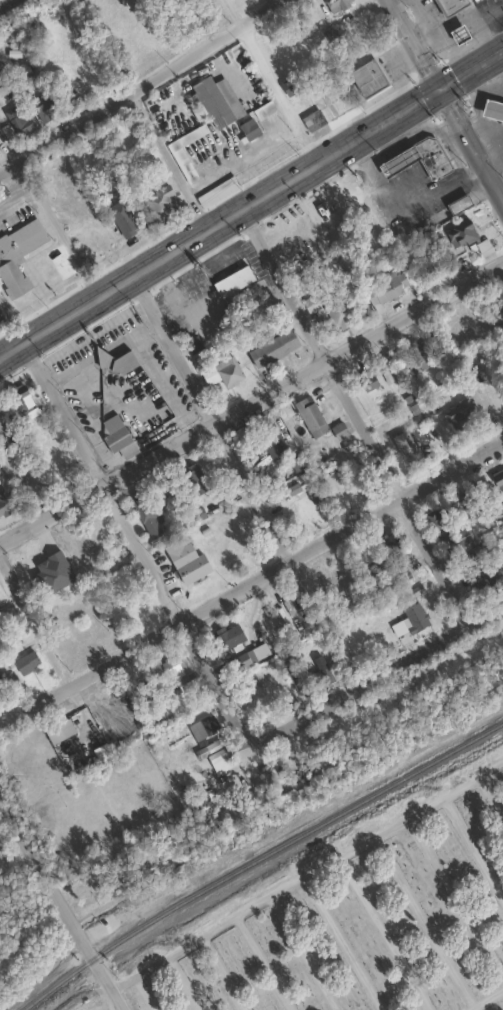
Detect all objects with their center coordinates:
building: (470, 0)
park: (5, 3)
building: (336, 5)
building: (448, 5)
road: (414, 43)
building: (364, 78)
road: (270, 80)
building: (293, 82)
road: (141, 87)
building: (214, 100)
building: (41, 106)
building: (262, 109)
building: (491, 110)
building: (311, 119)
building: (19, 124)
building: (247, 128)
road: (471, 143)
building: (418, 157)
road: (168, 162)
building: (180, 162)
building: (215, 190)
road: (339, 193)
road: (405, 200)
road: (251, 201)
building: (456, 203)
building: (159, 205)
building: (121, 218)
road: (59, 229)
building: (459, 233)
building: (17, 253)
building: (231, 281)
building: (381, 289)
building: (498, 299)
building: (258, 307)
building: (336, 311)
building: (271, 347)
road: (104, 356)
building: (420, 357)
building: (114, 361)
building: (219, 372)
building: (366, 380)
building: (20, 400)
road: (251, 400)
road: (354, 415)
building: (459, 415)
road: (210, 416)
building: (308, 416)
building: (1, 423)
building: (337, 430)
building: (112, 433)
building: (258, 441)
building: (191, 479)
building: (476, 501)
building: (4, 502)
building: (441, 515)
building: (145, 517)
road: (133, 538)
building: (389, 545)
building: (481, 550)
building: (184, 561)
building: (483, 579)
road: (250, 580)
road: (34, 622)
building: (227, 637)
building: (247, 657)
building: (24, 662)
building: (167, 669)
building: (322, 675)
road: (375, 676)
building: (0, 694)
building: (200, 728)
building: (216, 753)
road: (491, 797)
road: (420, 810)
road: (474, 848)
railway: (257, 857)
road: (286, 885)
road: (456, 897)
road: (61, 908)
road: (372, 916)
park: (358, 919)
road: (422, 921)
road: (206, 931)
road: (292, 934)
road: (342, 942)
road: (254, 952)
road: (212, 954)
road: (171, 967)
road: (122, 983)
road: (143, 994)
road: (485, 998)
road: (118, 1008)
road: (473, 1008)

